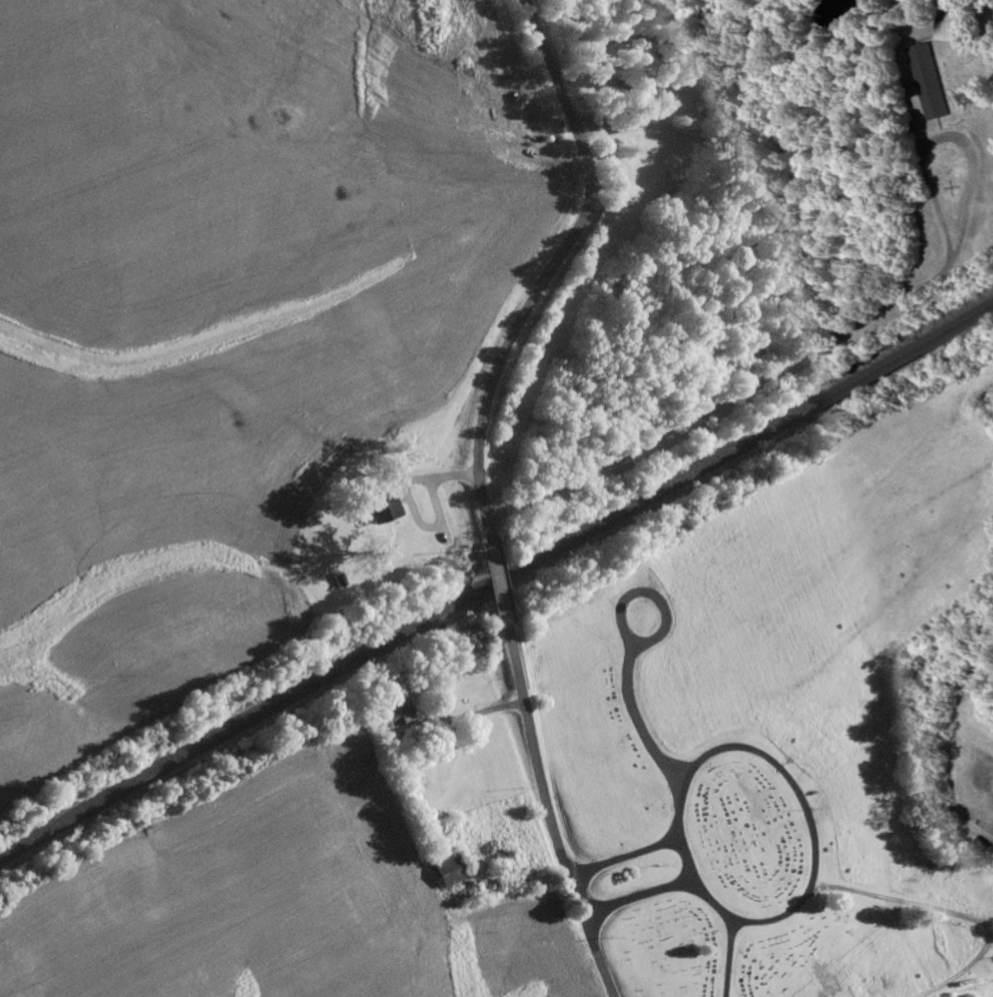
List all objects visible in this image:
building: (949, 20)
building: (928, 82)
building: (634, 86)
building: (618, 126)
road: (546, 267)
road: (720, 400)
railway: (496, 580)
road: (493, 581)
building: (392, 714)
park: (692, 813)
road: (549, 814)
road: (623, 856)
building: (443, 872)
road: (637, 896)
road: (901, 904)
road: (728, 916)
road: (728, 957)
road: (960, 973)

